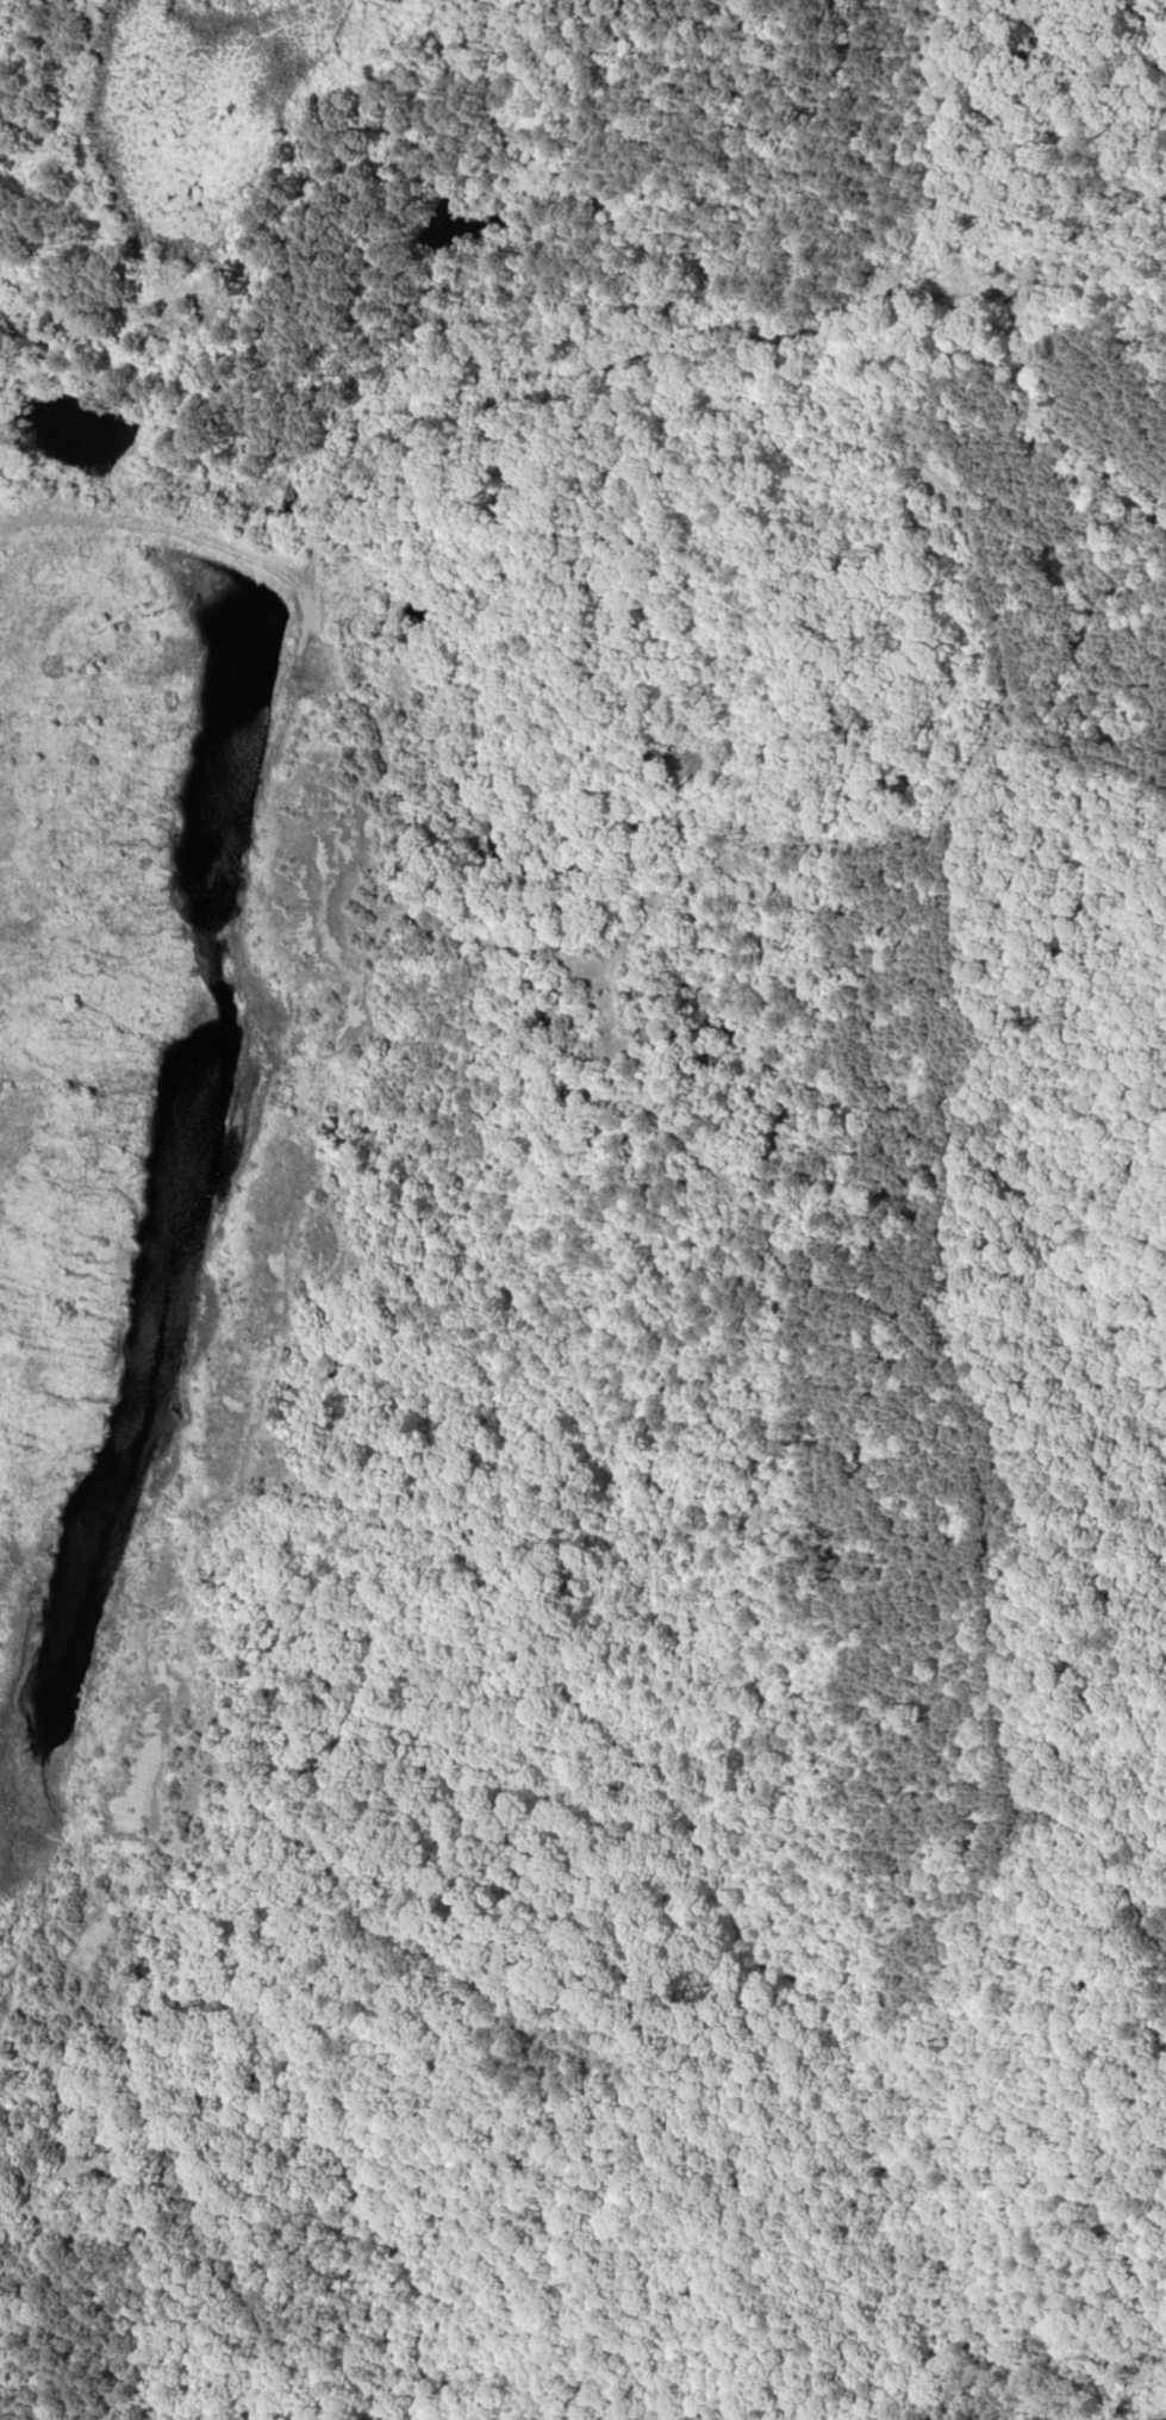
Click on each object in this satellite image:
road: (29, 43)

